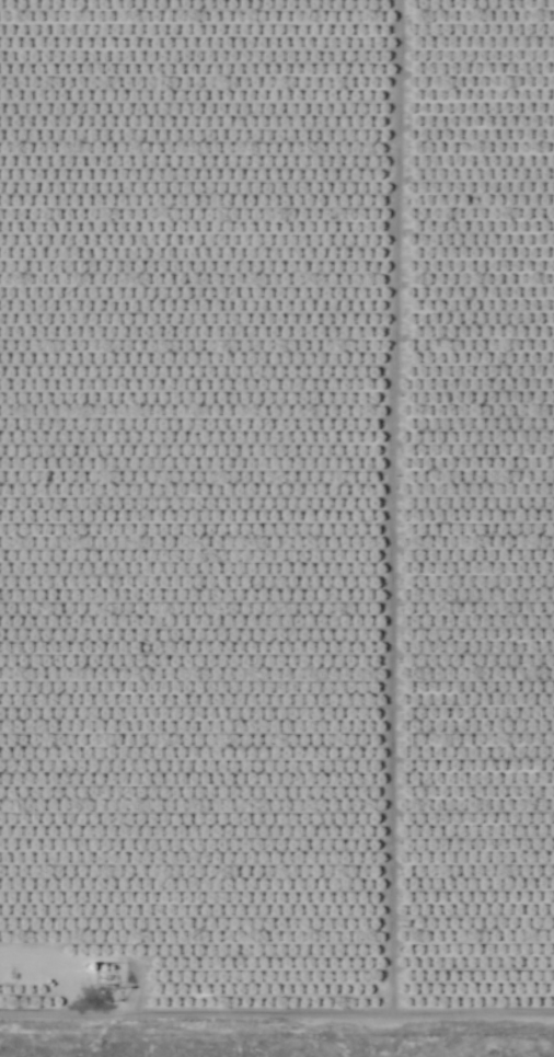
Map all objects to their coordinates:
road: (388, 509)
crop: (277, 514)
road: (276, 1019)

